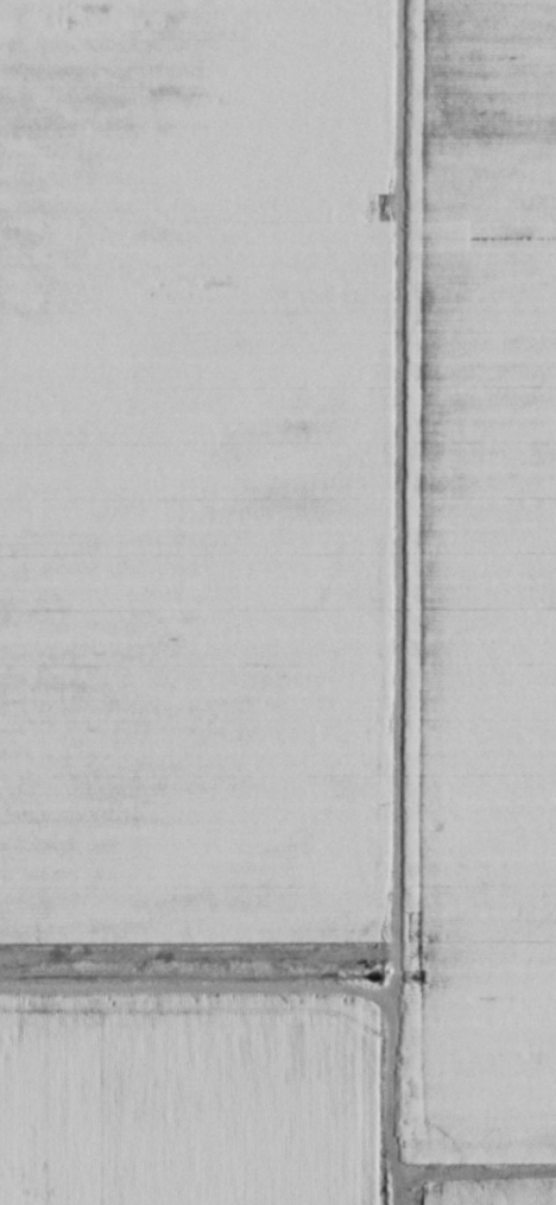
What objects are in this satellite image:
road: (392, 602)

